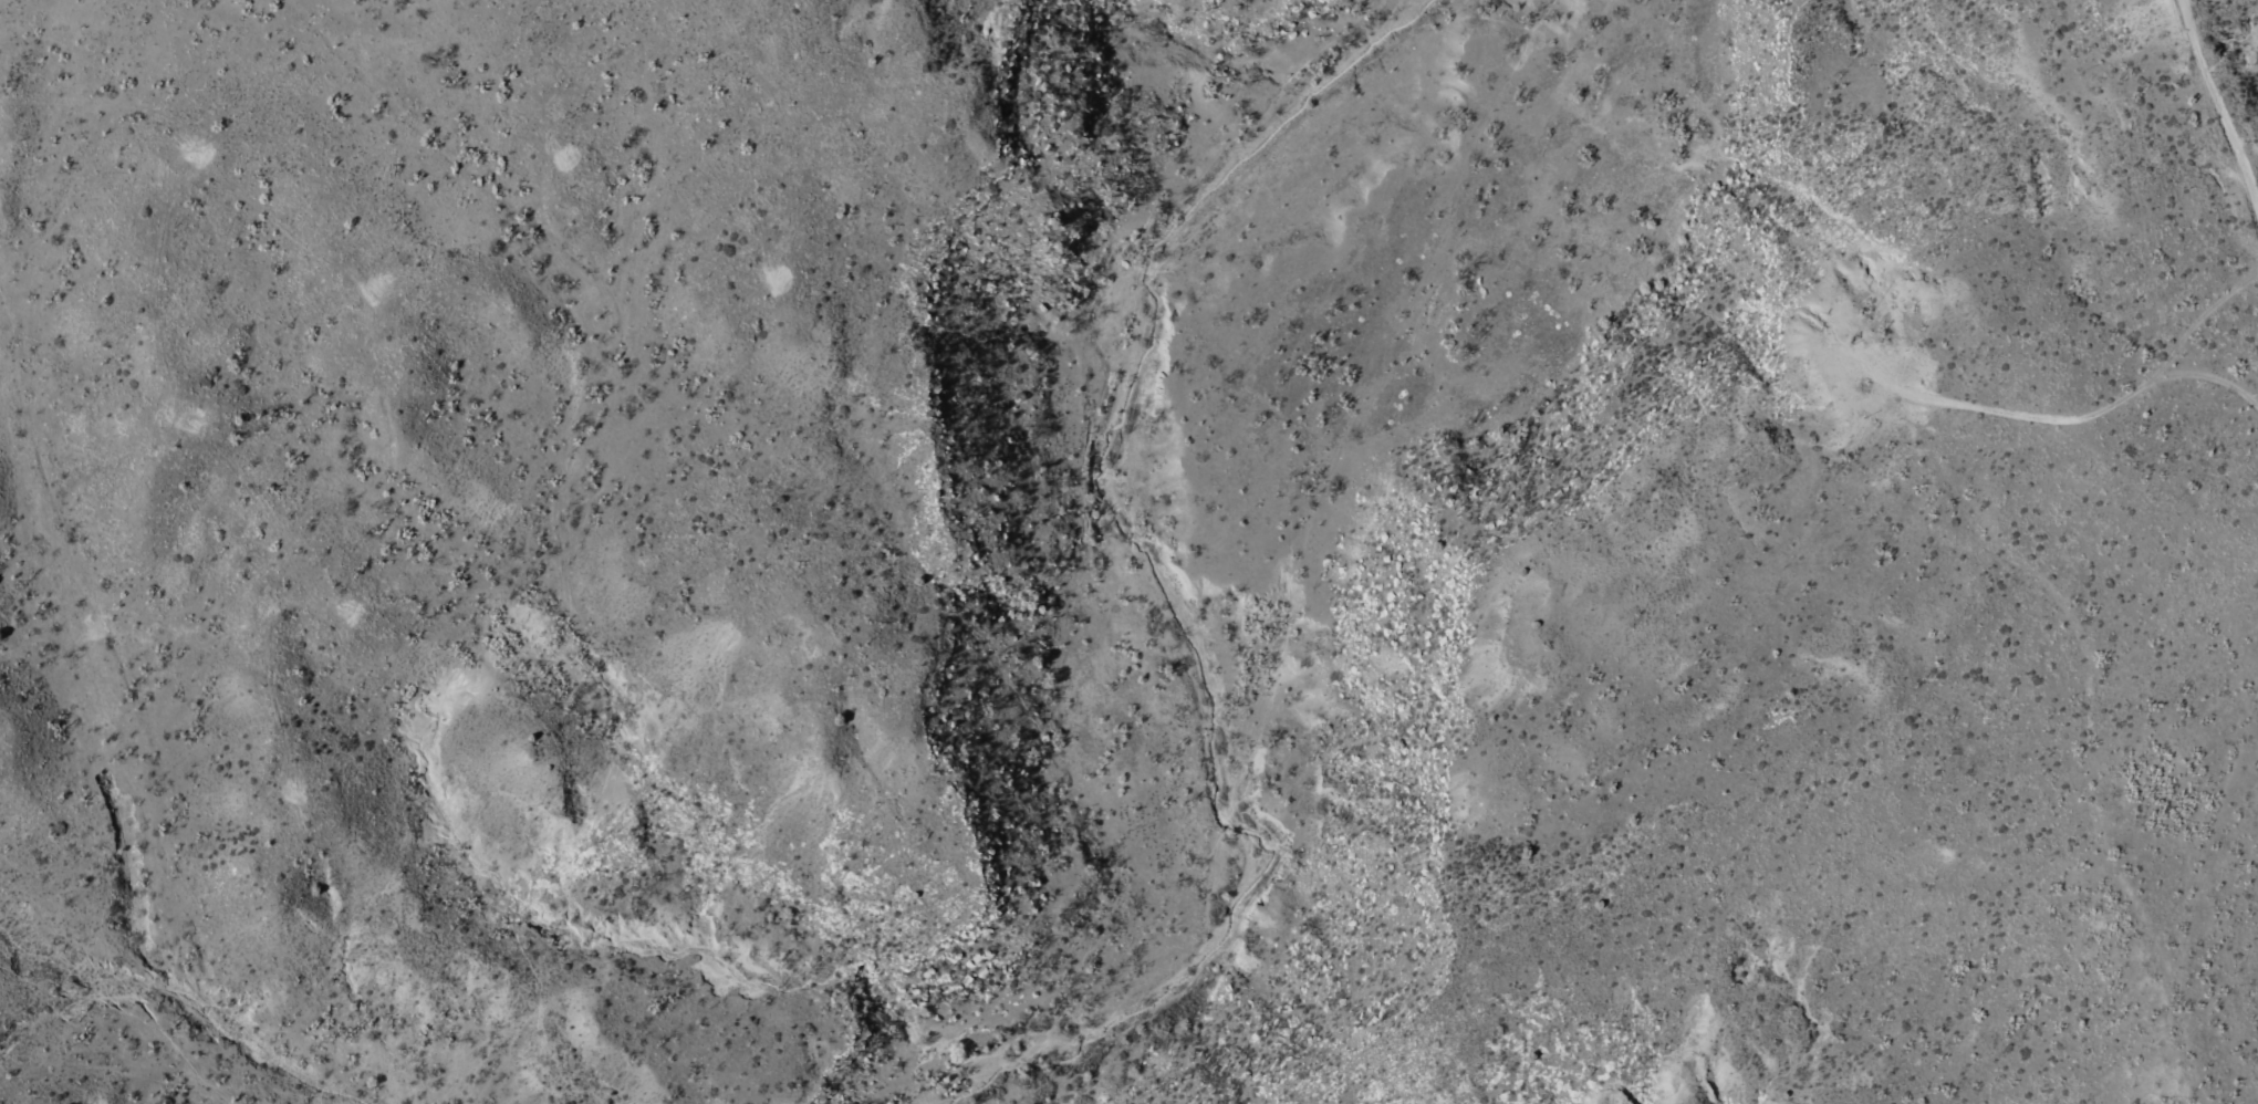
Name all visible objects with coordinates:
road: (2215, 76)

